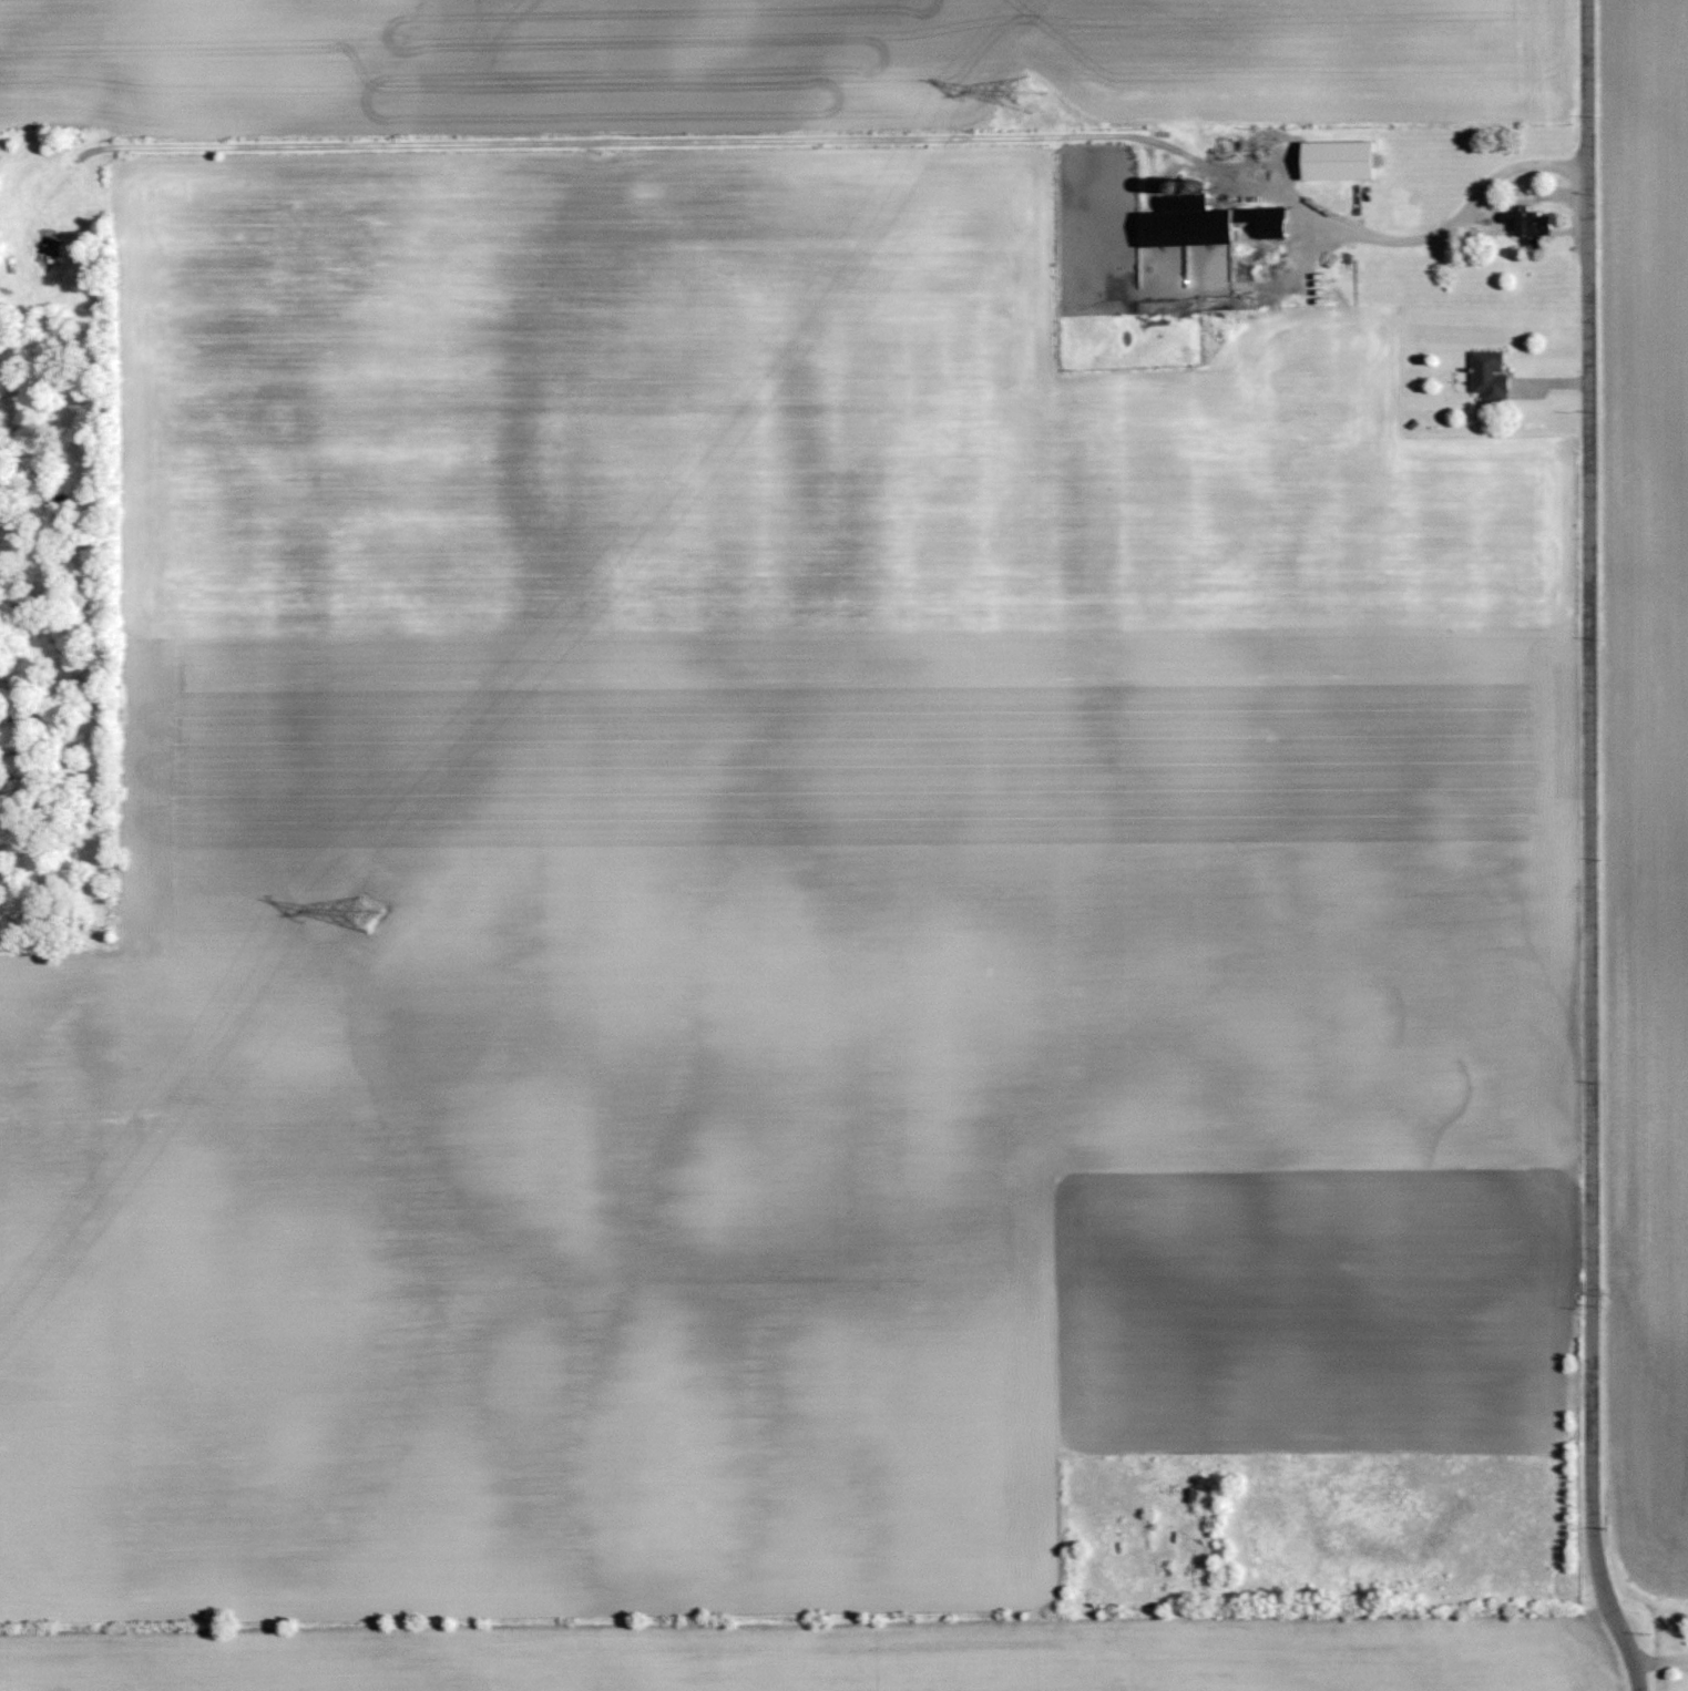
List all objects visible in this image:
power tower: (1023, 95)
building: (1338, 160)
building: (1203, 222)
building: (1527, 224)
road: (1426, 238)
building: (1490, 376)
road: (1588, 826)
power tower: (359, 913)
road: (1634, 1668)

